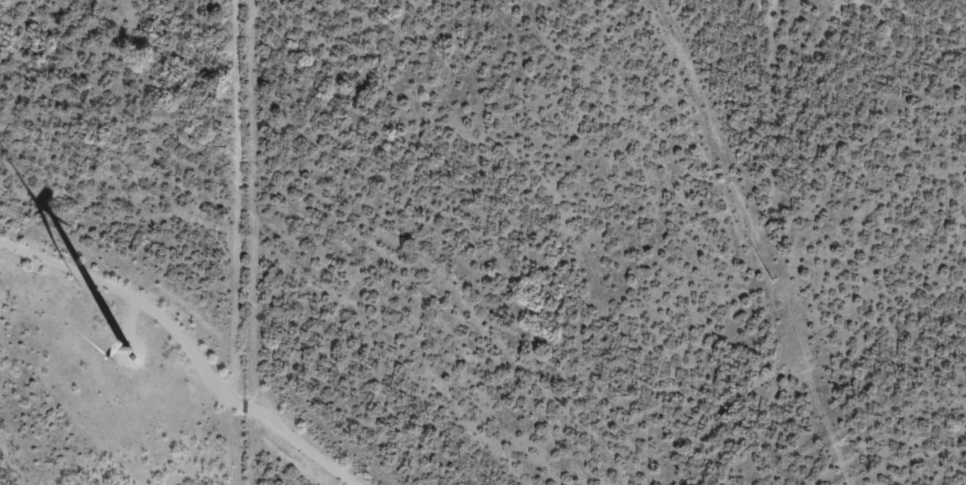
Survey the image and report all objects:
power tower: (770, 282)
wind turbine: (129, 356)

